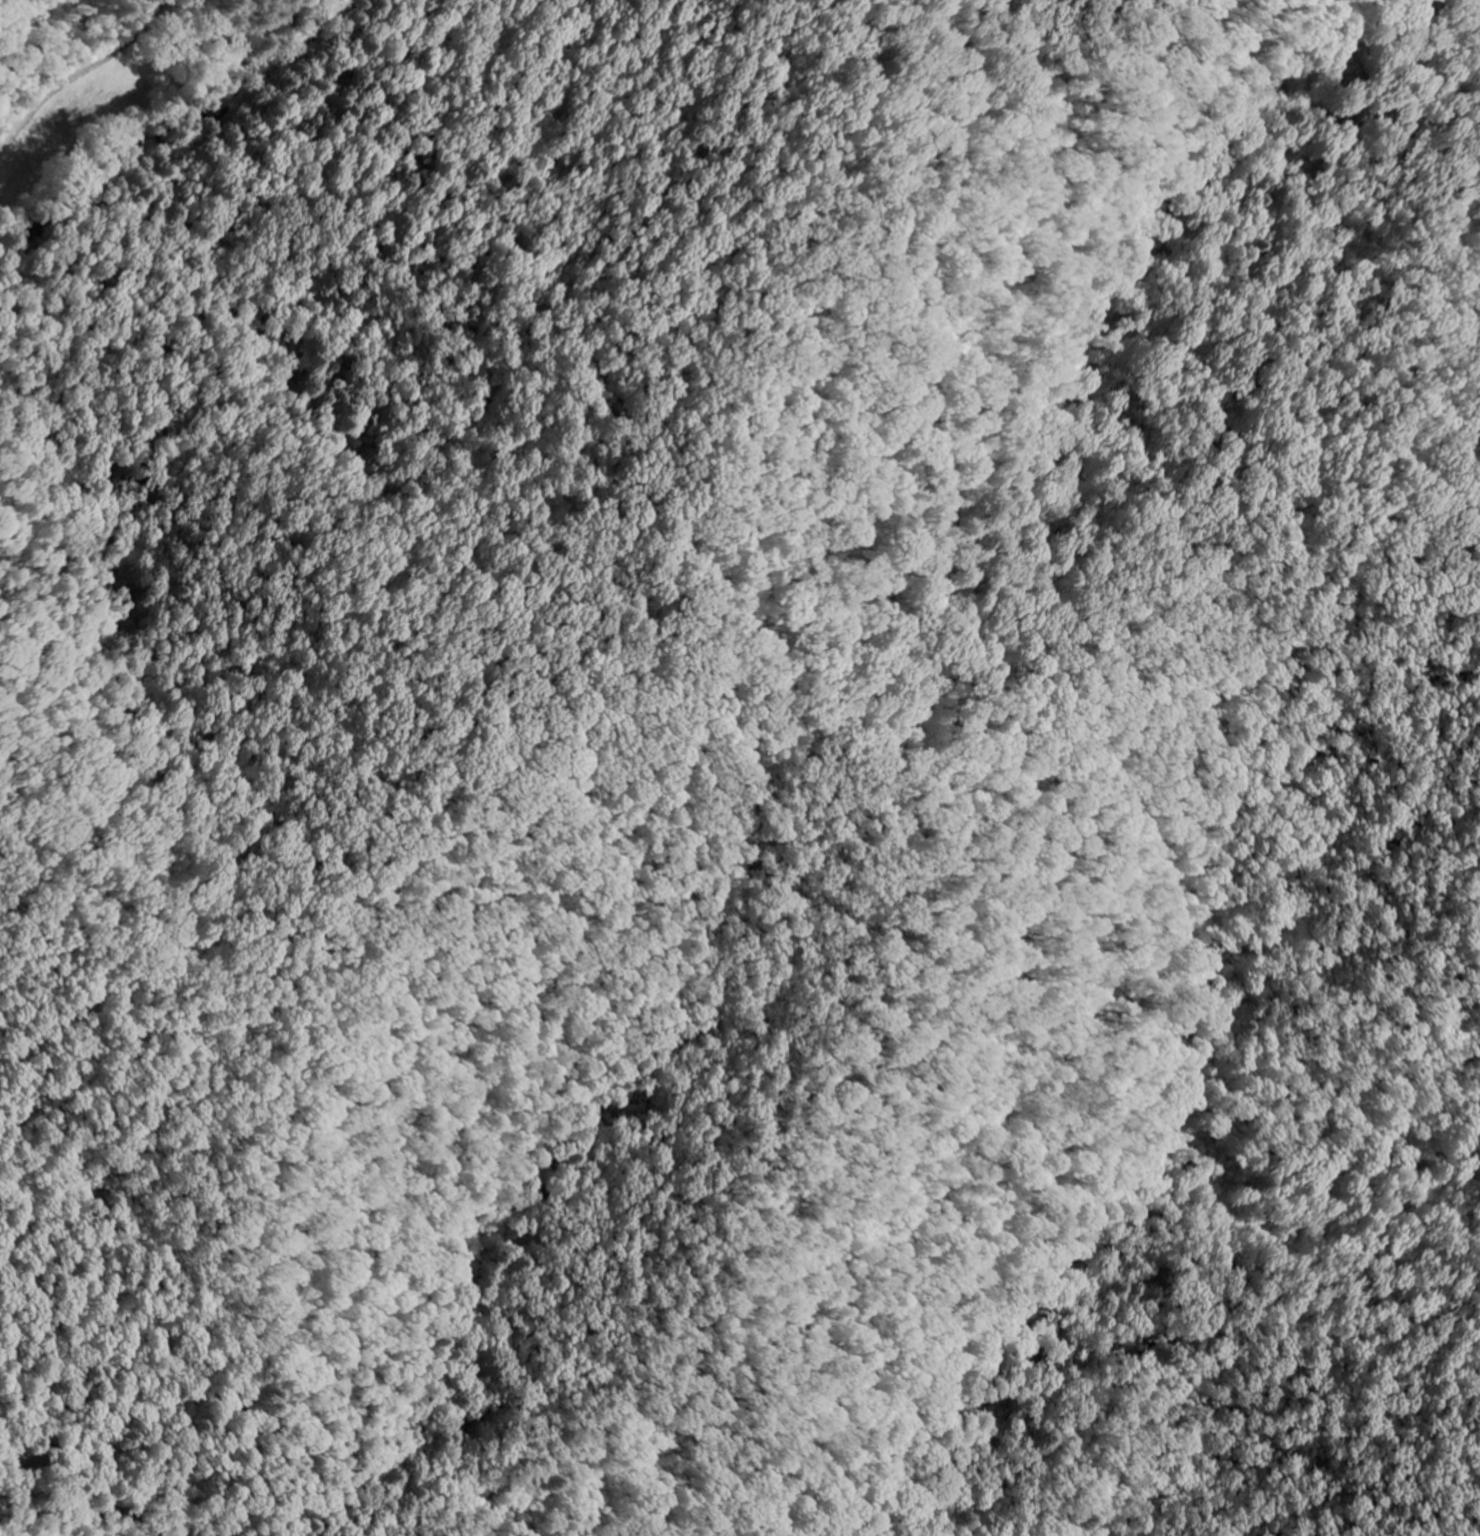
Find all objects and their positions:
road: (125, 95)

